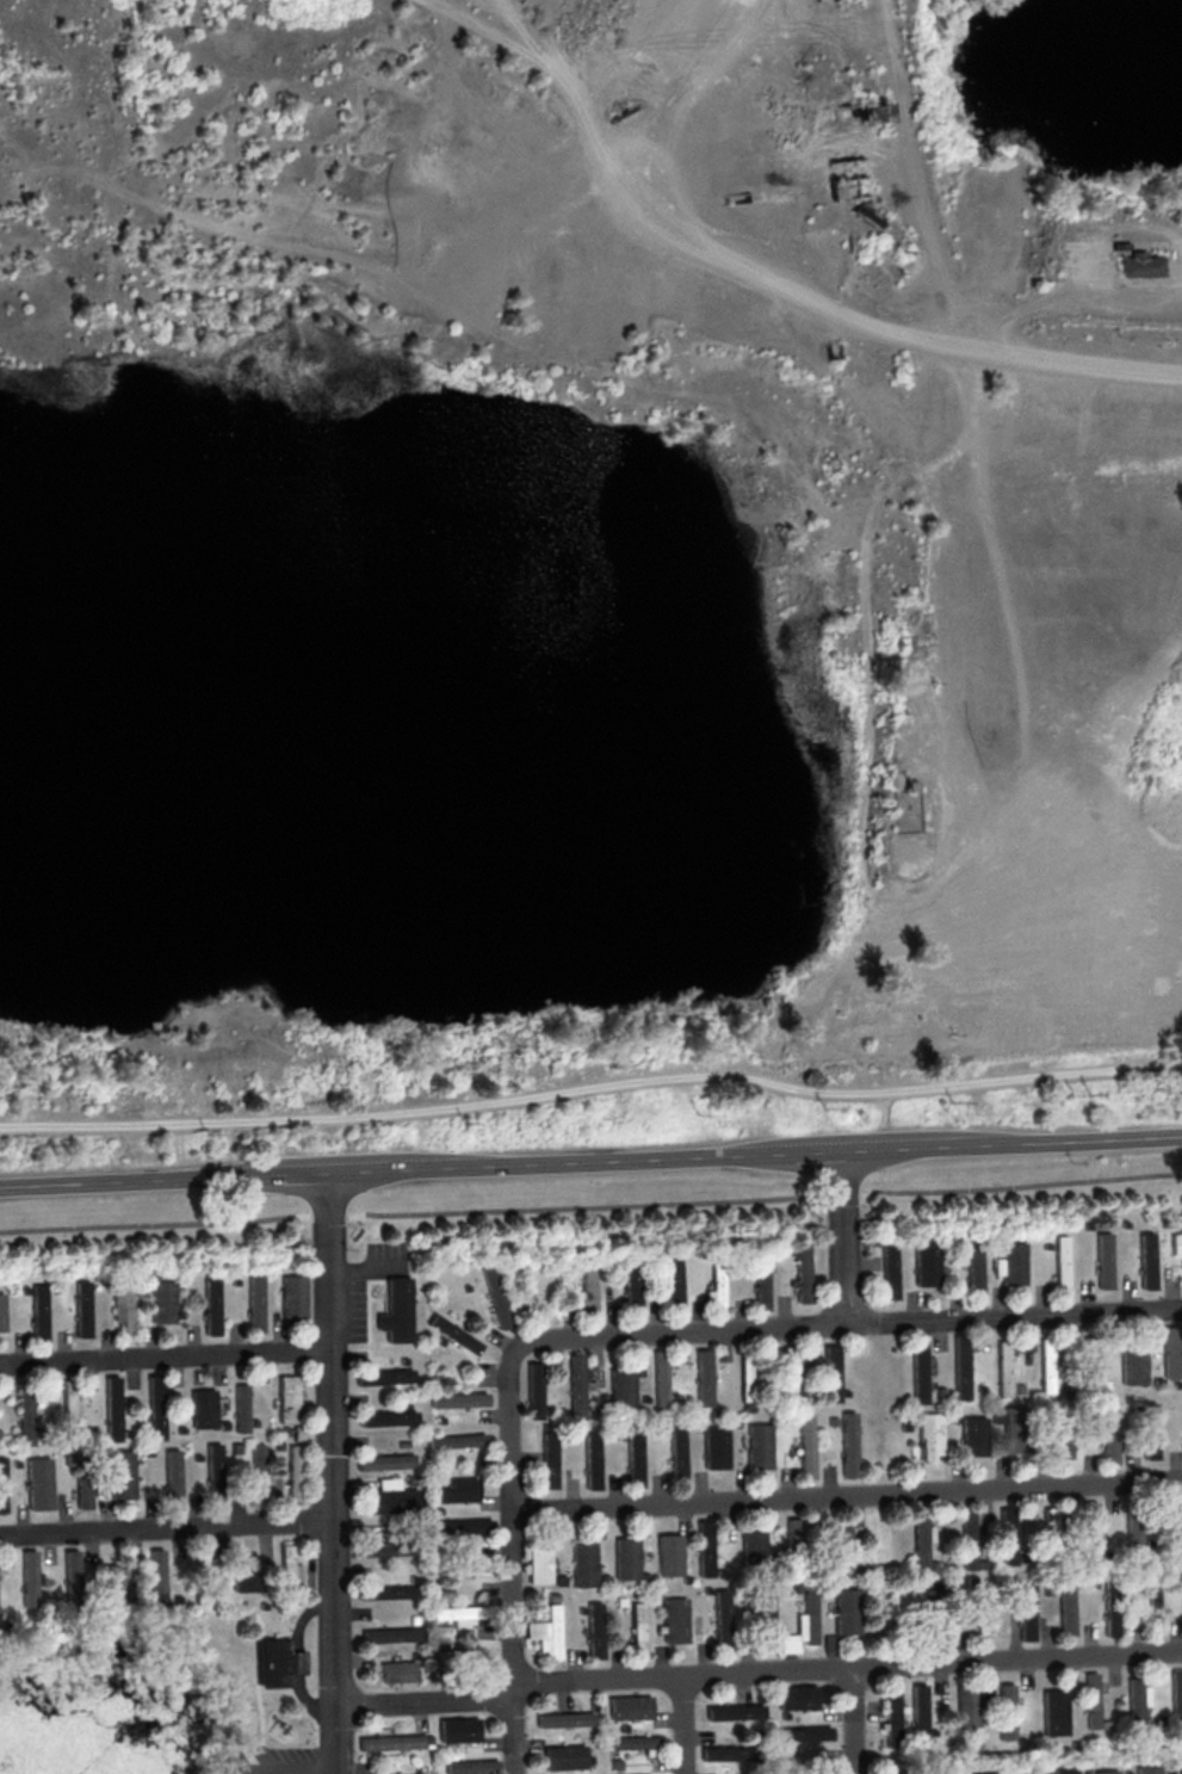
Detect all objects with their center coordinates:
building: (1138, 264)
road: (940, 270)
road: (592, 1089)
road: (884, 1119)
road: (590, 1162)
road: (840, 1238)
building: (1176, 1242)
building: (1103, 1260)
building: (1146, 1260)
building: (924, 1262)
building: (1013, 1262)
building: (1060, 1262)
building: (973, 1269)
building: (800, 1271)
building: (887, 1271)
building: (672, 1282)
building: (760, 1282)
building: (631, 1286)
building: (714, 1286)
building: (586, 1291)
building: (499, 1294)
building: (292, 1296)
building: (162, 1302)
building: (254, 1303)
building: (210, 1305)
building: (81, 1309)
building: (122, 1309)
building: (395, 1310)
building: (1, 1312)
building: (38, 1312)
building: (451, 1334)
building: (1172, 1352)
road: (163, 1358)
building: (1046, 1365)
building: (1132, 1366)
building: (960, 1367)
building: (1003, 1367)
building: (788, 1370)
building: (918, 1370)
building: (829, 1372)
building: (383, 1376)
building: (703, 1377)
building: (658, 1378)
building: (744, 1378)
building: (620, 1384)
building: (574, 1385)
building: (532, 1390)
building: (286, 1398)
building: (456, 1399)
building: (73, 1405)
building: (155, 1407)
building: (240, 1407)
building: (111, 1408)
building: (202, 1408)
building: (386, 1417)
building: (25, 1418)
building: (1014, 1428)
building: (1147, 1430)
building: (301, 1433)
road: (508, 1433)
building: (929, 1435)
building: (972, 1435)
building: (1108, 1435)
building: (453, 1440)
building: (848, 1444)
building: (757, 1445)
building: (805, 1445)
building: (1063, 1446)
building: (714, 1447)
building: (675, 1452)
building: (632, 1458)
building: (547, 1459)
building: (589, 1460)
building: (384, 1461)
building: (213, 1470)
building: (258, 1470)
building: (293, 1472)
building: (122, 1473)
road: (329, 1473)
building: (173, 1477)
building: (2, 1483)
building: (39, 1483)
building: (454, 1489)
building: (83, 1490)
building: (390, 1497)
building: (1176, 1512)
building: (1048, 1522)
building: (456, 1526)
building: (1088, 1527)
road: (165, 1528)
building: (793, 1531)
building: (1132, 1534)
building: (1007, 1535)
building: (967, 1539)
building: (920, 1541)
building: (753, 1545)
building: (704, 1547)
building: (841, 1547)
building: (380, 1549)
building: (668, 1554)
building: (625, 1557)
building: (202, 1562)
building: (537, 1563)
building: (582, 1563)
building: (289, 1564)
building: (465, 1566)
building: (245, 1571)
building: (73, 1576)
building: (157, 1576)
building: (29, 1577)
building: (116, 1582)
building: (386, 1591)
building: (1151, 1603)
building: (1066, 1609)
building: (1110, 1609)
building: (846, 1611)
building: (765, 1612)
building: (1026, 1612)
building: (460, 1613)
building: (722, 1617)
building: (982, 1618)
building: (674, 1619)
building: (802, 1624)
building: (637, 1627)
building: (594, 1630)
building: (545, 1632)
building: (391, 1634)
road: (512, 1642)
building: (458, 1656)
building: (277, 1663)
building: (398, 1670)
road: (847, 1676)
building: (1176, 1694)
building: (797, 1696)
building: (1091, 1699)
building: (1137, 1699)
road: (423, 1704)
building: (969, 1705)
building: (629, 1707)
building: (734, 1711)
building: (918, 1711)
building: (1005, 1711)
building: (1054, 1712)
building: (892, 1714)
building: (564, 1719)
water park: (241, 1725)
road: (680, 1725)
road: (852, 1725)
building: (458, 1729)
building: (803, 1733)
building: (391, 1742)
building: (633, 1742)
building: (724, 1753)
building: (564, 1756)
parking lot: (276, 1761)
building: (233, 1762)
building: (470, 1766)
building: (1181, 1766)
building: (1149, 1769)
building: (1065, 1770)
building: (984, 1772)
building: (1106, 1772)

